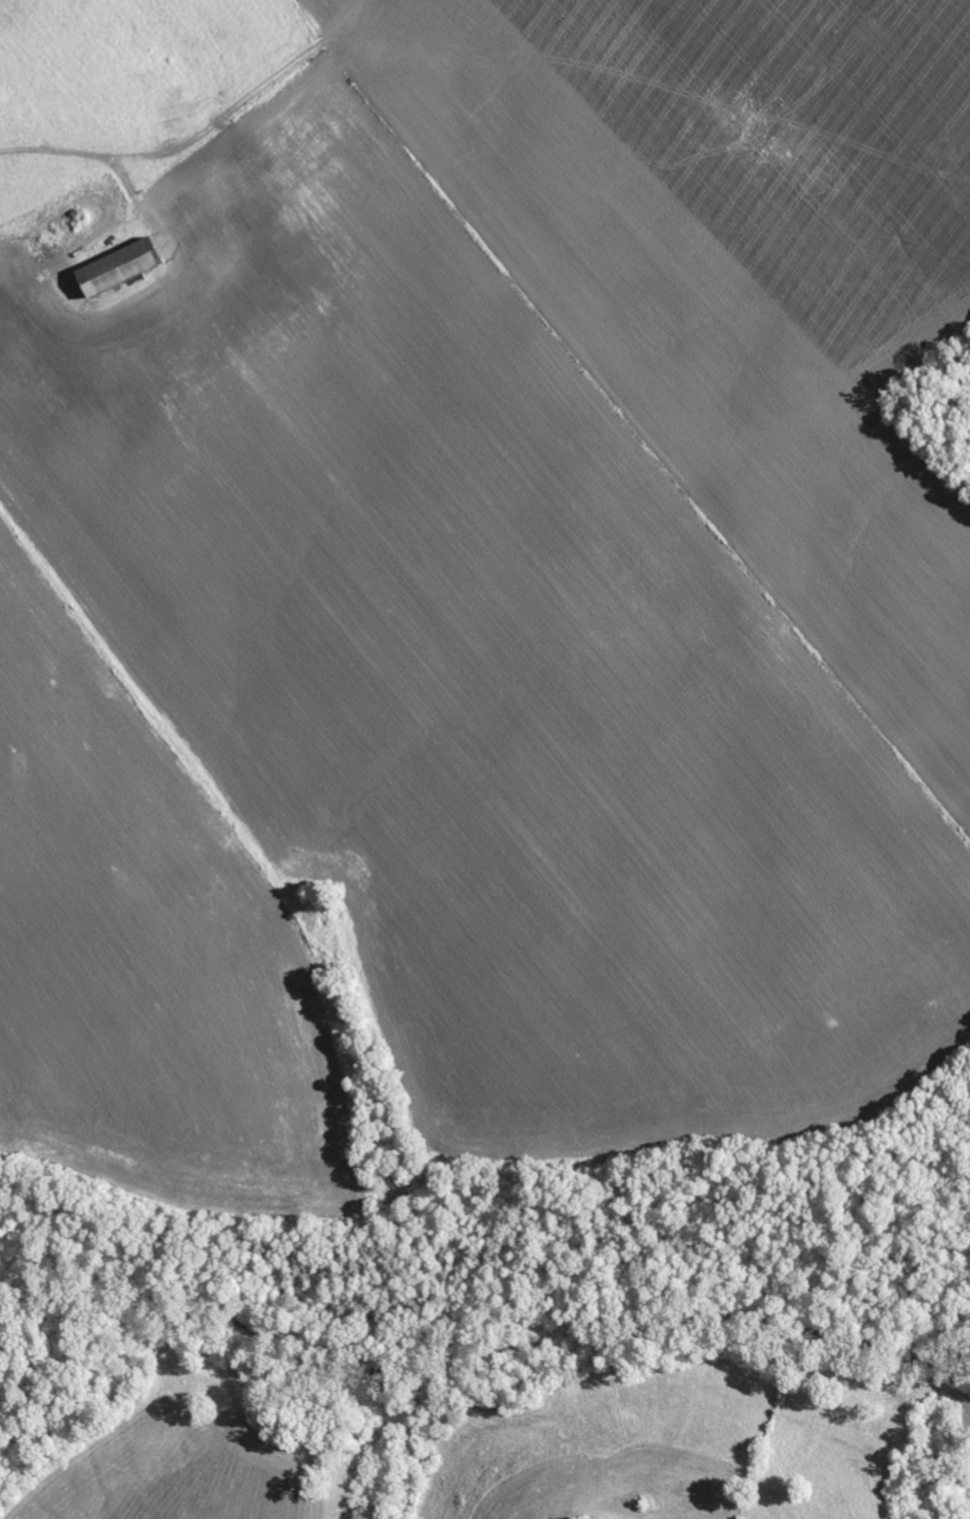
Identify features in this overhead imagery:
road: (186, 141)
building: (114, 269)

